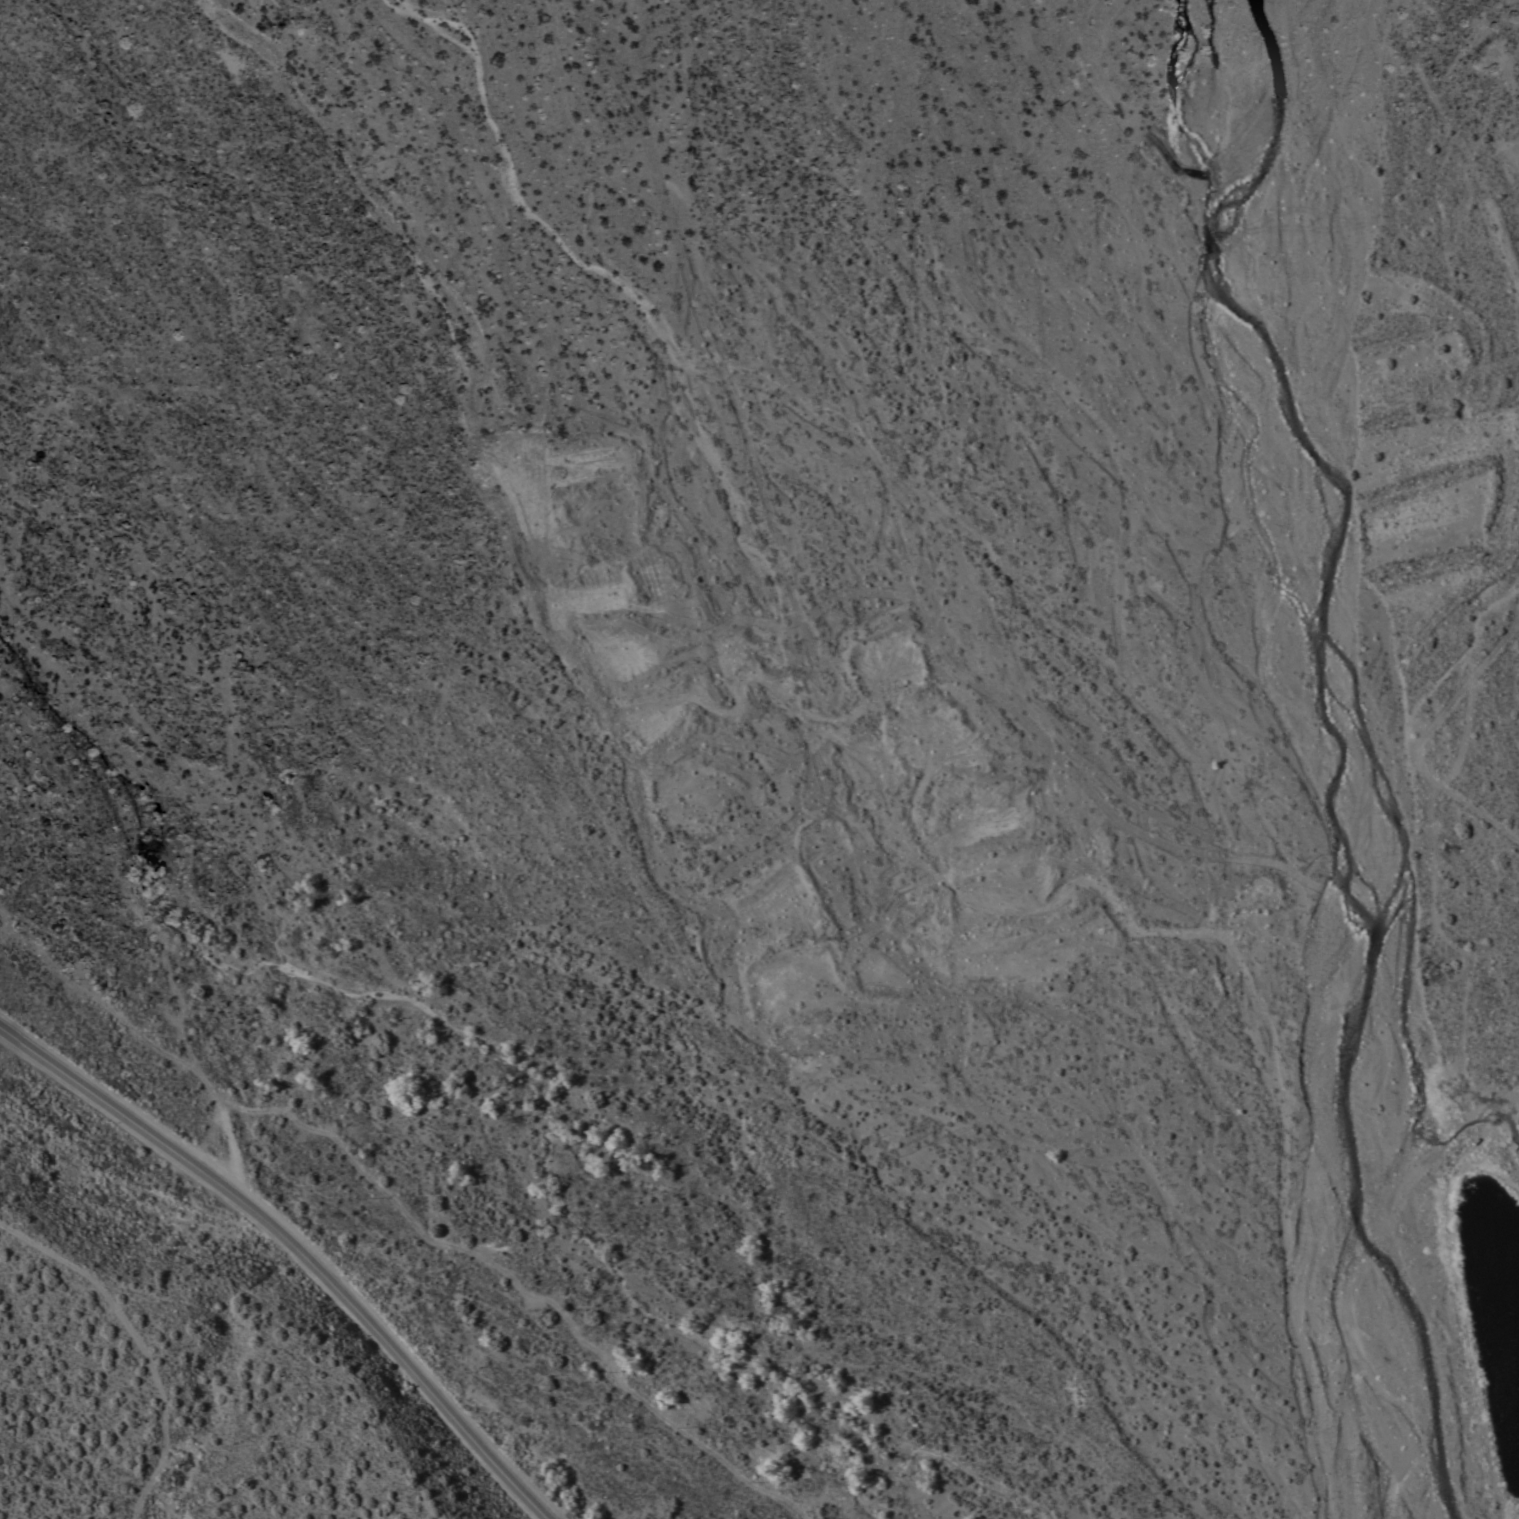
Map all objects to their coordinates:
road: (293, 1264)

